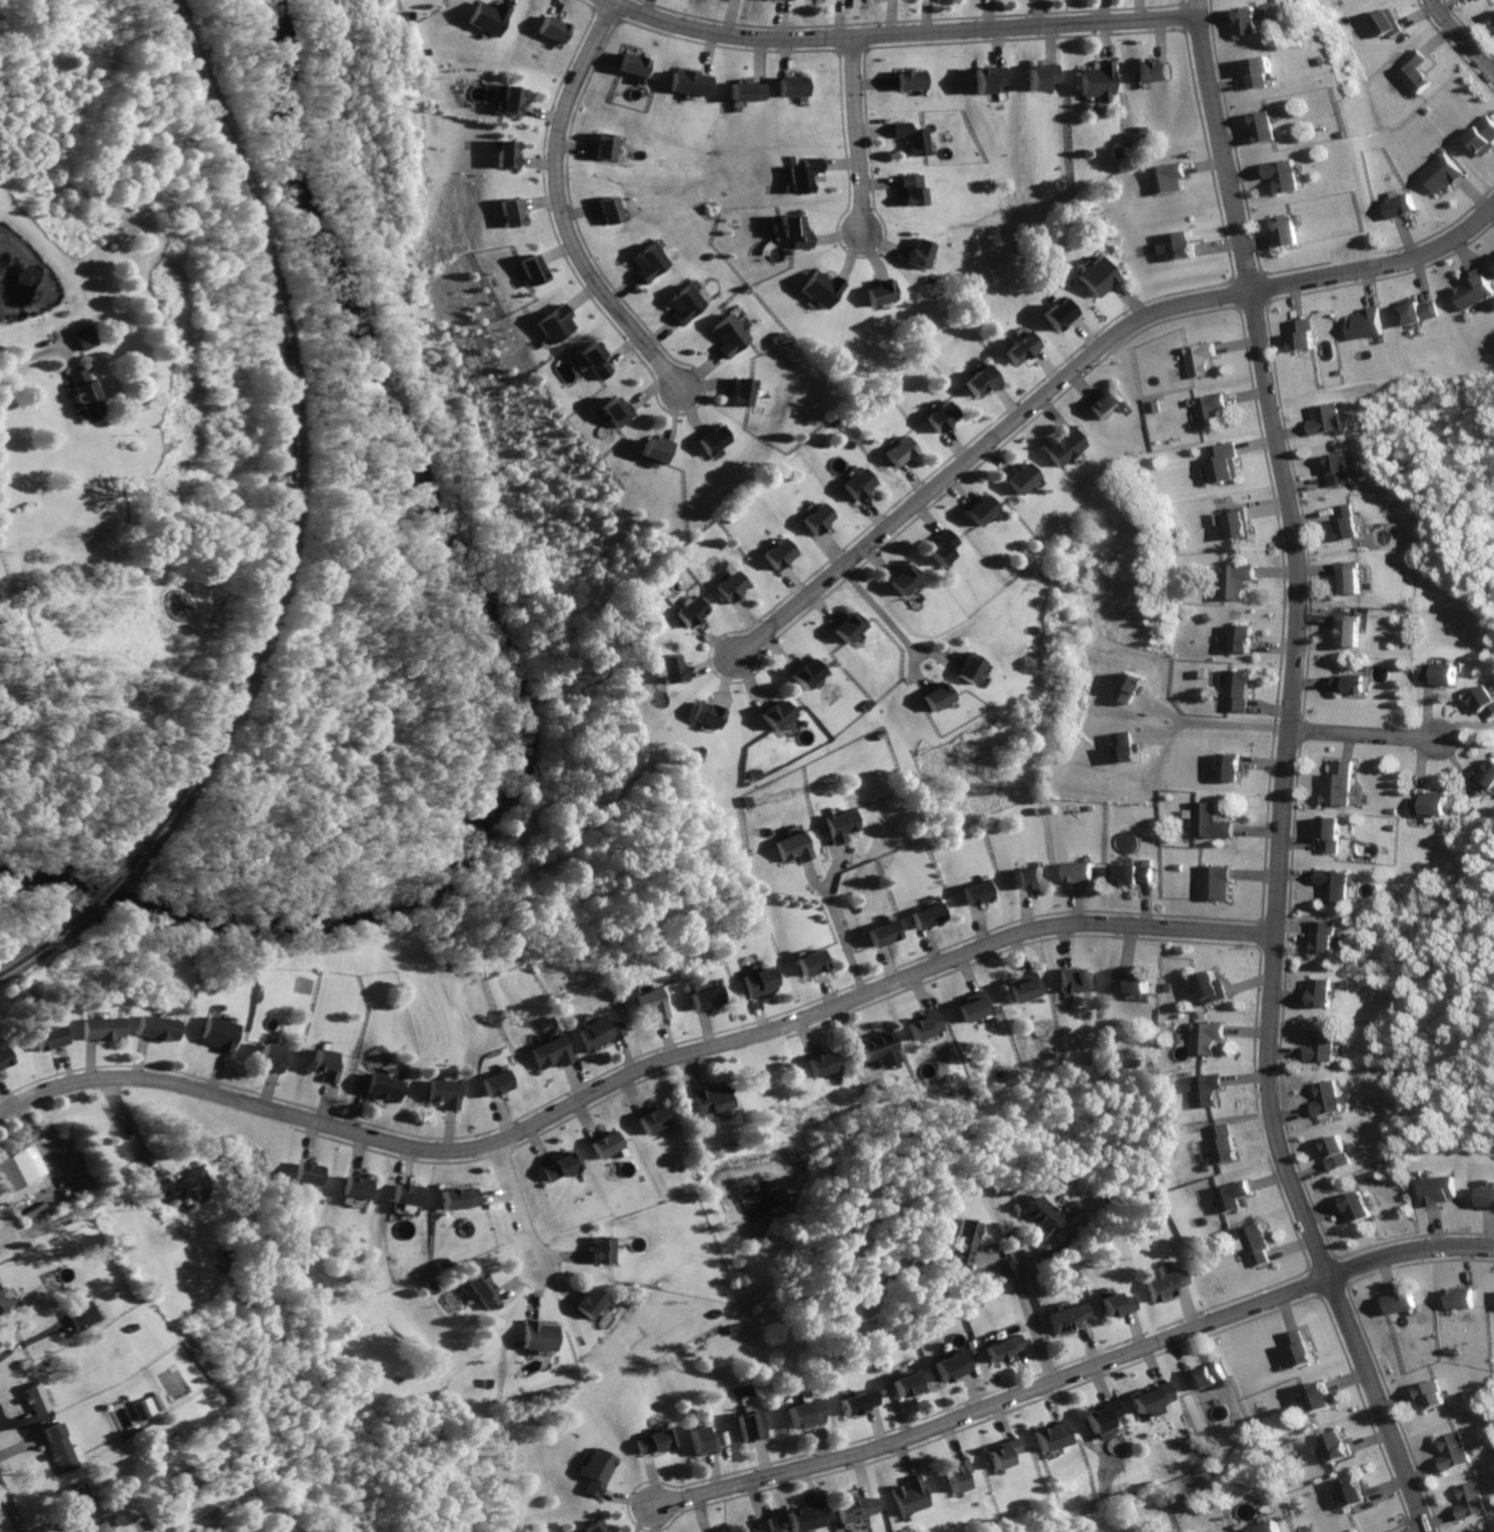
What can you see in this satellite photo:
building: (493, 18)
building: (1249, 22)
building: (1392, 24)
building: (557, 30)
road: (899, 35)
road: (1461, 39)
building: (636, 64)
building: (1153, 70)
building: (1420, 72)
building: (1260, 73)
building: (1042, 76)
building: (913, 79)
building: (991, 80)
building: (696, 82)
building: (1101, 82)
building: (797, 87)
building: (752, 91)
building: (516, 102)
building: (1264, 126)
road: (855, 134)
building: (914, 137)
building: (1482, 138)
building: (611, 148)
building: (510, 155)
building: (1279, 173)
building: (805, 174)
building: (1439, 175)
building: (1169, 179)
building: (912, 188)
road: (563, 206)
building: (1396, 207)
building: (610, 209)
building: (514, 213)
building: (790, 230)
building: (1283, 231)
building: (1183, 246)
building: (918, 252)
building: (1492, 259)
building: (647, 265)
building: (529, 272)
road: (1380, 275)
building: (1096, 276)
building: (819, 288)
building: (1471, 291)
building: (879, 292)
building: (680, 304)
building: (1418, 313)
building: (1059, 315)
building: (549, 324)
building: (1366, 325)
building: (1301, 333)
building: (81, 336)
building: (727, 337)
building: (1021, 350)
road: (29, 354)
building: (587, 359)
building: (1202, 360)
building: (979, 381)
building: (741, 392)
building: (83, 393)
building: (1107, 403)
building: (1212, 409)
building: (611, 412)
building: (939, 418)
building: (1330, 420)
building: (713, 439)
building: (1067, 446)
railway: (290, 447)
building: (659, 450)
road: (979, 451)
building: (901, 452)
building: (1223, 463)
building: (1341, 469)
building: (1023, 479)
building: (860, 485)
building: (982, 511)
building: (819, 521)
building: (1236, 521)
building: (1351, 521)
building: (941, 547)
building: (781, 555)
building: (1349, 578)
building: (1235, 580)
building: (903, 581)
building: (735, 585)
building: (696, 612)
building: (851, 627)
road: (894, 627)
building: (1348, 630)
building: (1239, 639)
building: (675, 667)
building: (969, 669)
road: (914, 671)
building: (1442, 673)
building: (808, 675)
building: (1132, 678)
building: (1349, 682)
building: (1240, 691)
building: (934, 697)
road: (1159, 702)
building: (1485, 702)
building: (709, 715)
building: (776, 717)
road: (1233, 717)
road: (1160, 725)
road: (1467, 728)
road: (1364, 736)
building: (1131, 740)
building: (1231, 767)
road: (1281, 775)
building: (1487, 775)
building: (1341, 784)
building: (1432, 808)
building: (1214, 822)
building: (838, 824)
building: (1334, 834)
building: (792, 847)
road: (838, 870)
building: (1132, 872)
building: (1080, 873)
building: (1030, 877)
building: (1216, 882)
road: (815, 883)
building: (1335, 886)
railway: (105, 889)
building: (976, 892)
building: (928, 915)
building: (883, 932)
building: (1330, 936)
railway: (45, 941)
road: (848, 946)
building: (811, 963)
building: (1075, 979)
building: (1130, 980)
building: (759, 982)
building: (1024, 986)
building: (1210, 988)
building: (1323, 991)
building: (703, 996)
building: (651, 1004)
building: (978, 1006)
building: (925, 1024)
building: (100, 1027)
building: (157, 1028)
building: (216, 1032)
building: (596, 1034)
building: (47, 1037)
building: (1206, 1038)
building: (882, 1047)
building: (1322, 1050)
building: (549, 1053)
building: (5, 1055)
building: (273, 1057)
road: (856, 1063)
building: (824, 1064)
building: (324, 1065)
road: (631, 1073)
building: (494, 1085)
building: (383, 1088)
building: (1206, 1091)
building: (445, 1092)
building: (714, 1099)
building: (1329, 1100)
building: (654, 1120)
road: (130, 1132)
building: (610, 1144)
building: (1222, 1144)
building: (1341, 1154)
building: (560, 1165)
building: (20, 1168)
building: (310, 1174)
building: (358, 1185)
building: (181, 1186)
building: (1441, 1191)
building: (407, 1193)
building: (1234, 1196)
building: (1488, 1197)
building: (462, 1198)
road: (519, 1204)
building: (1360, 1206)
building: (1039, 1219)
building: (960, 1243)
building: (1257, 1244)
building: (603, 1250)
building: (1164, 1283)
building: (483, 1291)
building: (1460, 1299)
building: (3, 1301)
building: (591, 1304)
building: (1400, 1304)
building: (1115, 1305)
road: (1021, 1307)
road: (1032, 1309)
building: (82, 1314)
building: (1066, 1316)
building: (537, 1335)
road: (32, 1338)
building: (1297, 1347)
building: (1002, 1348)
building: (953, 1365)
road: (1075, 1373)
building: (1207, 1373)
building: (908, 1384)
building: (1429, 1395)
building: (1154, 1397)
building: (35, 1398)
building: (1315, 1398)
building: (857, 1401)
building: (140, 1408)
building: (806, 1413)
building: (1104, 1418)
building: (753, 1426)
building: (1055, 1436)
building: (656, 1441)
building: (703, 1443)
building: (1335, 1446)
building: (62, 1449)
building: (1003, 1451)
building: (1453, 1454)
building: (600, 1471)
building: (956, 1473)
building: (1352, 1493)
building: (910, 1496)
building: (84, 1502)
building: (1471, 1502)
building: (856, 1507)
road: (11, 1508)
building: (806, 1517)
building: (765, 1525)
building: (1267, 1527)
building: (98, 1528)
building: (233, 1528)
building: (599, 1528)
building: (716, 1531)
building: (1484, 1531)

